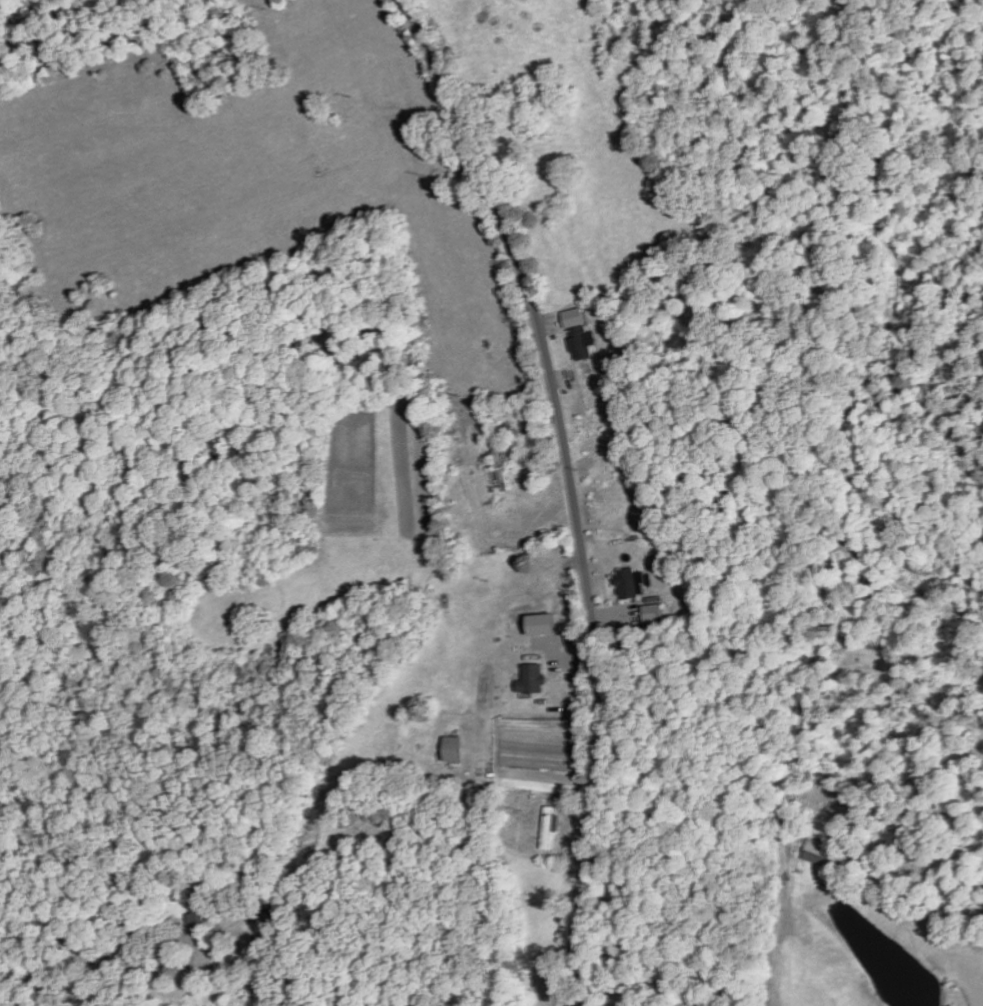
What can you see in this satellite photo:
building: (576, 335)
road: (569, 490)
building: (627, 584)
building: (529, 680)
building: (548, 828)
building: (819, 855)

